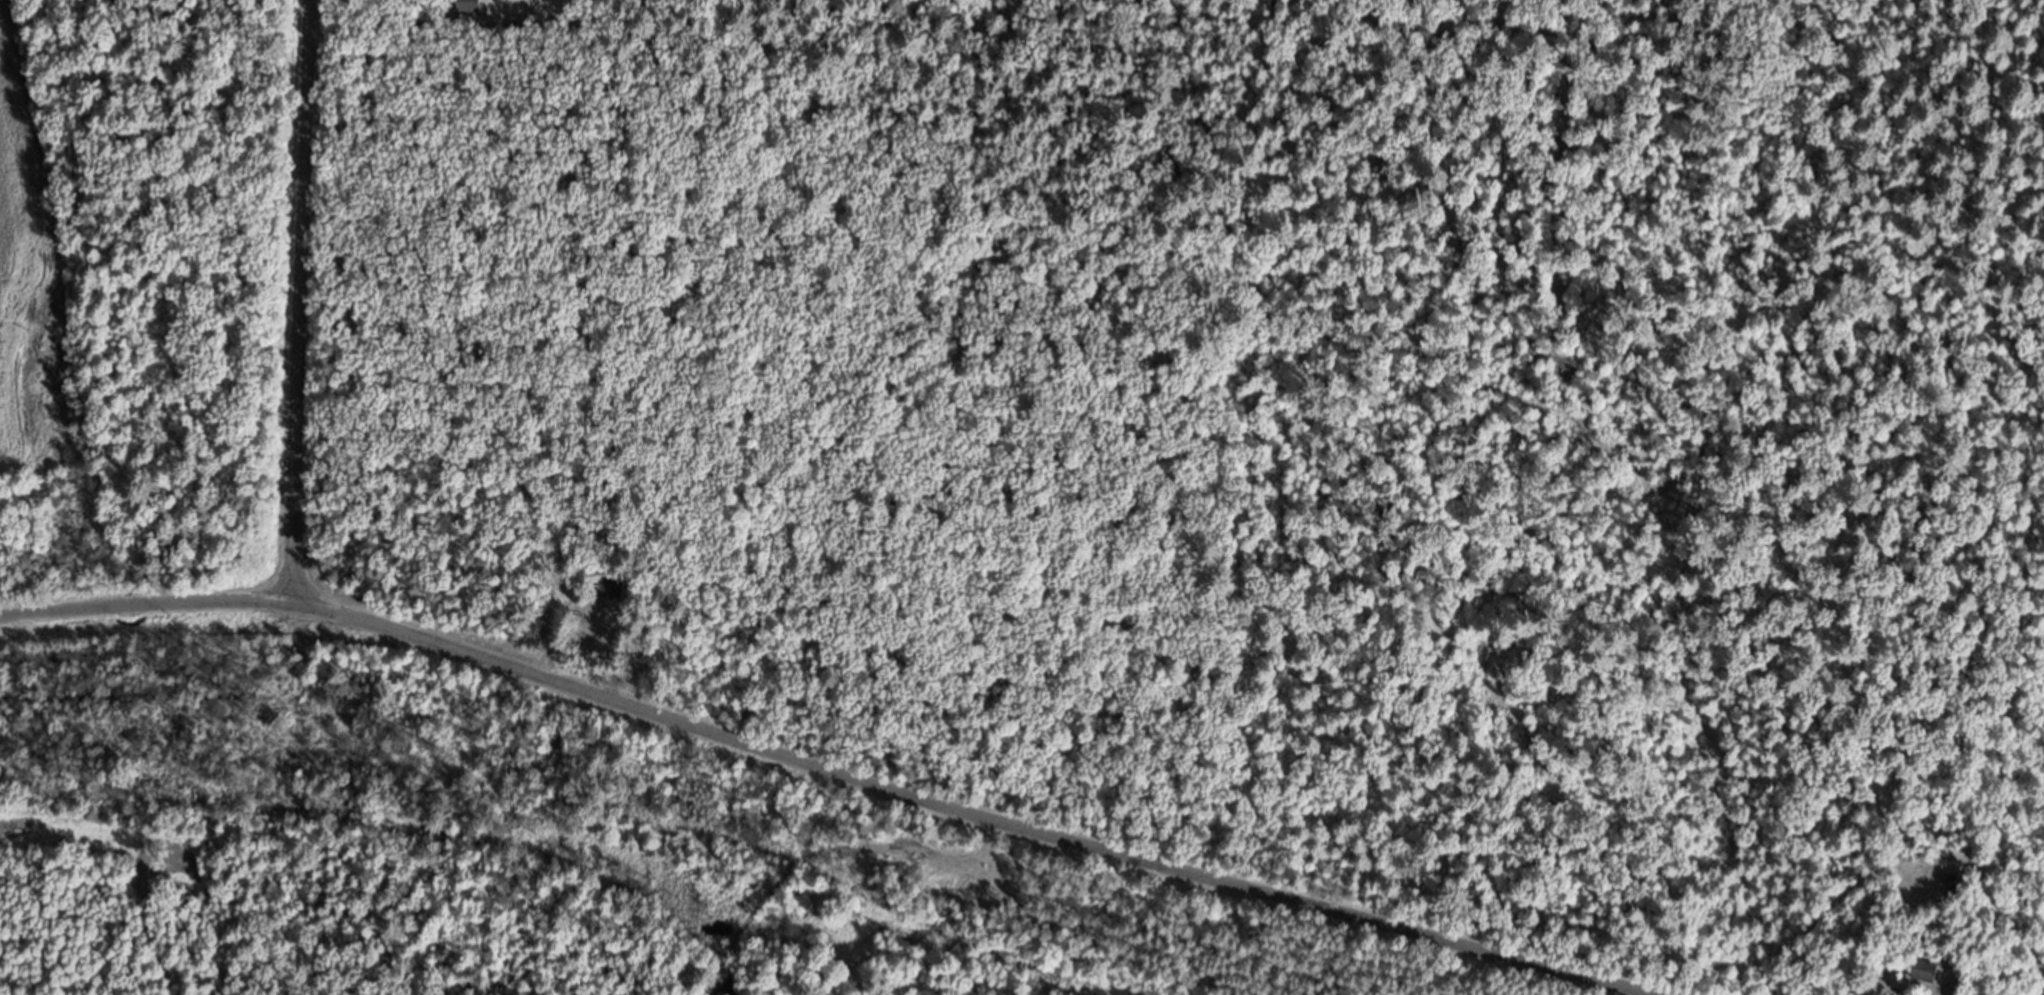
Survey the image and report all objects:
road: (304, 303)
building: (619, 592)
road: (828, 769)
building: (1927, 979)

